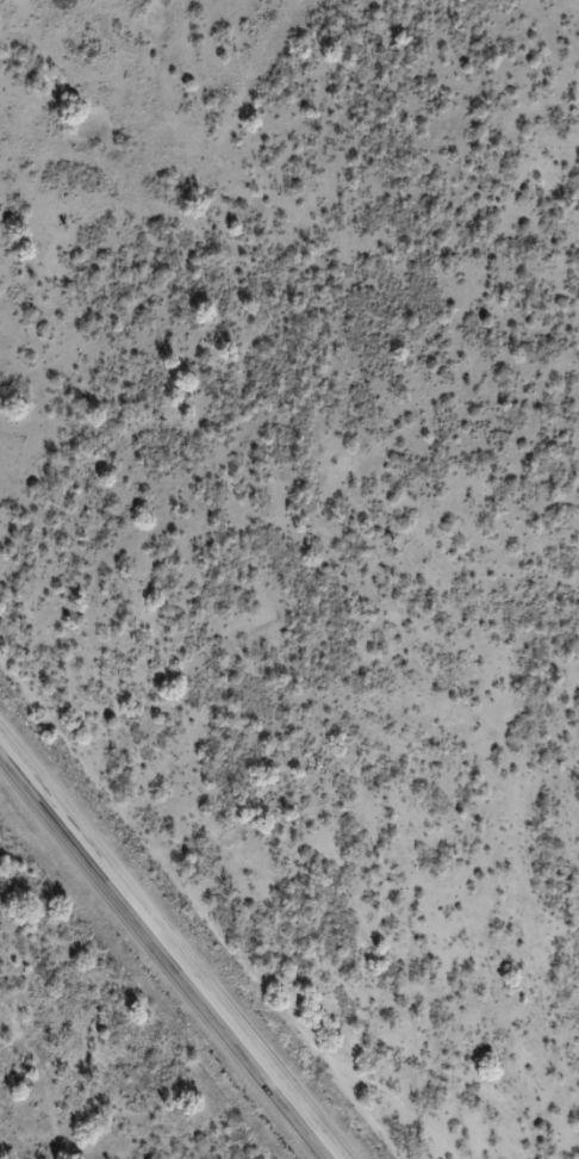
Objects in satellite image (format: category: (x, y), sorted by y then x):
road: (170, 948)

